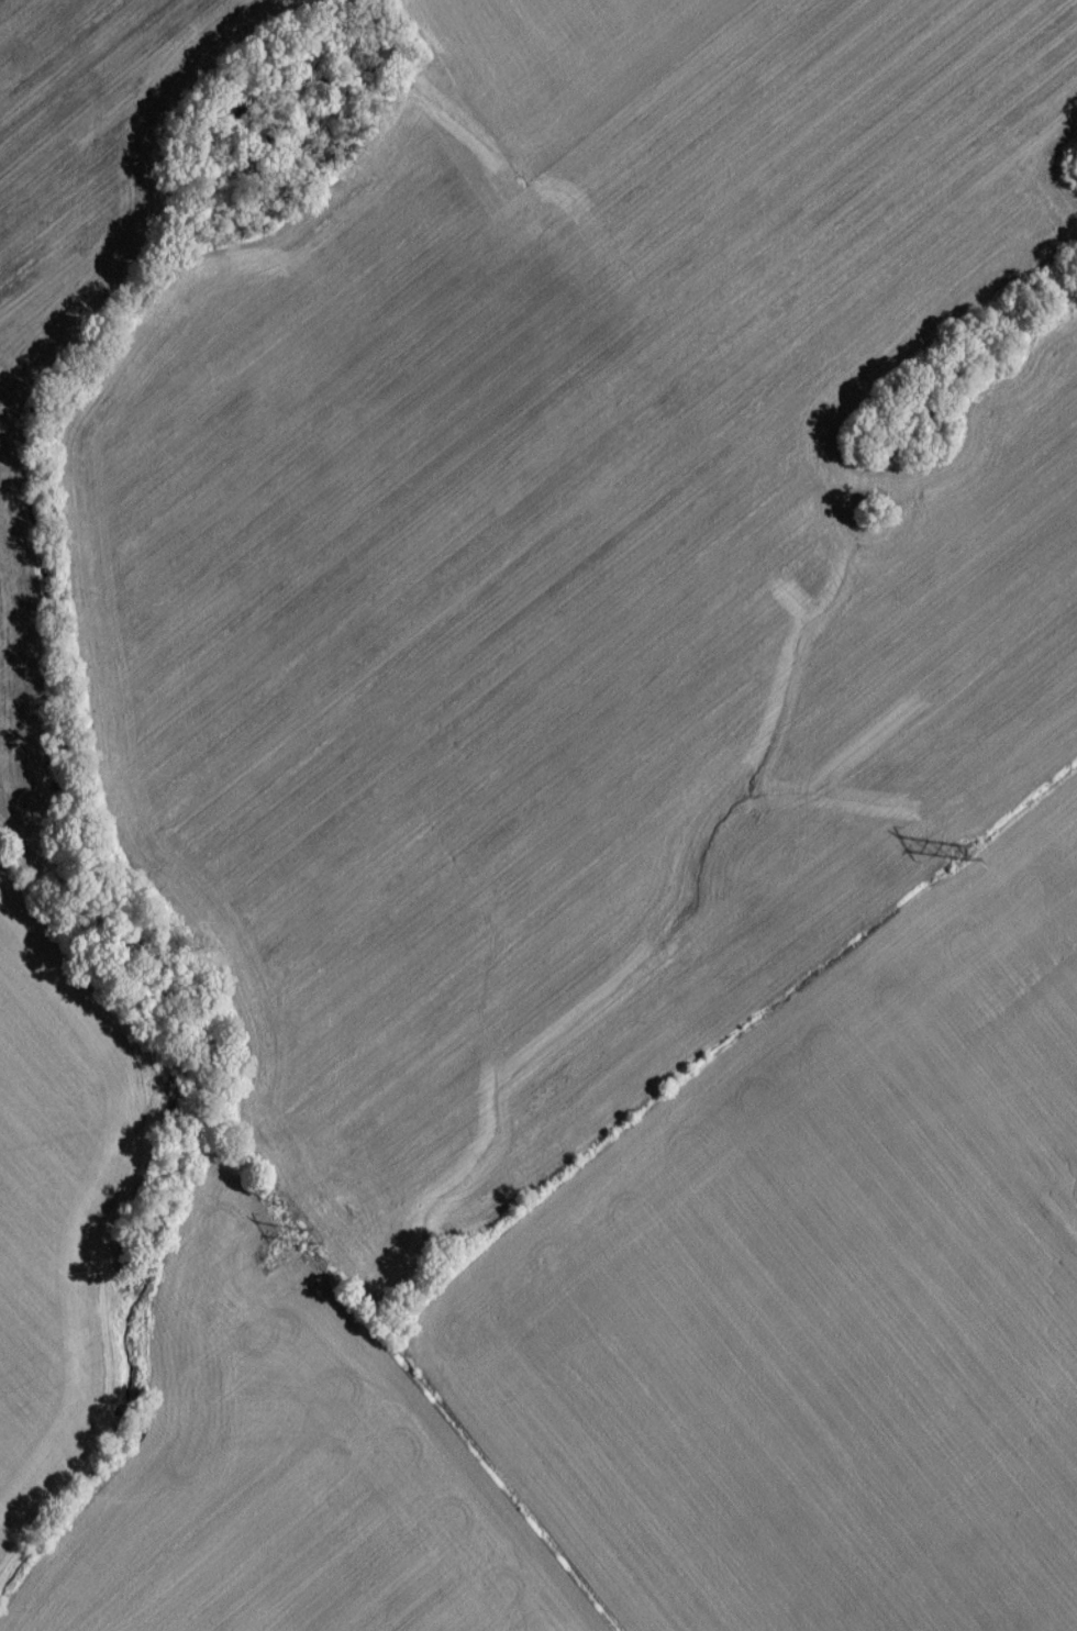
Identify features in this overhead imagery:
power tower: (962, 857)
power tower: (306, 1243)

